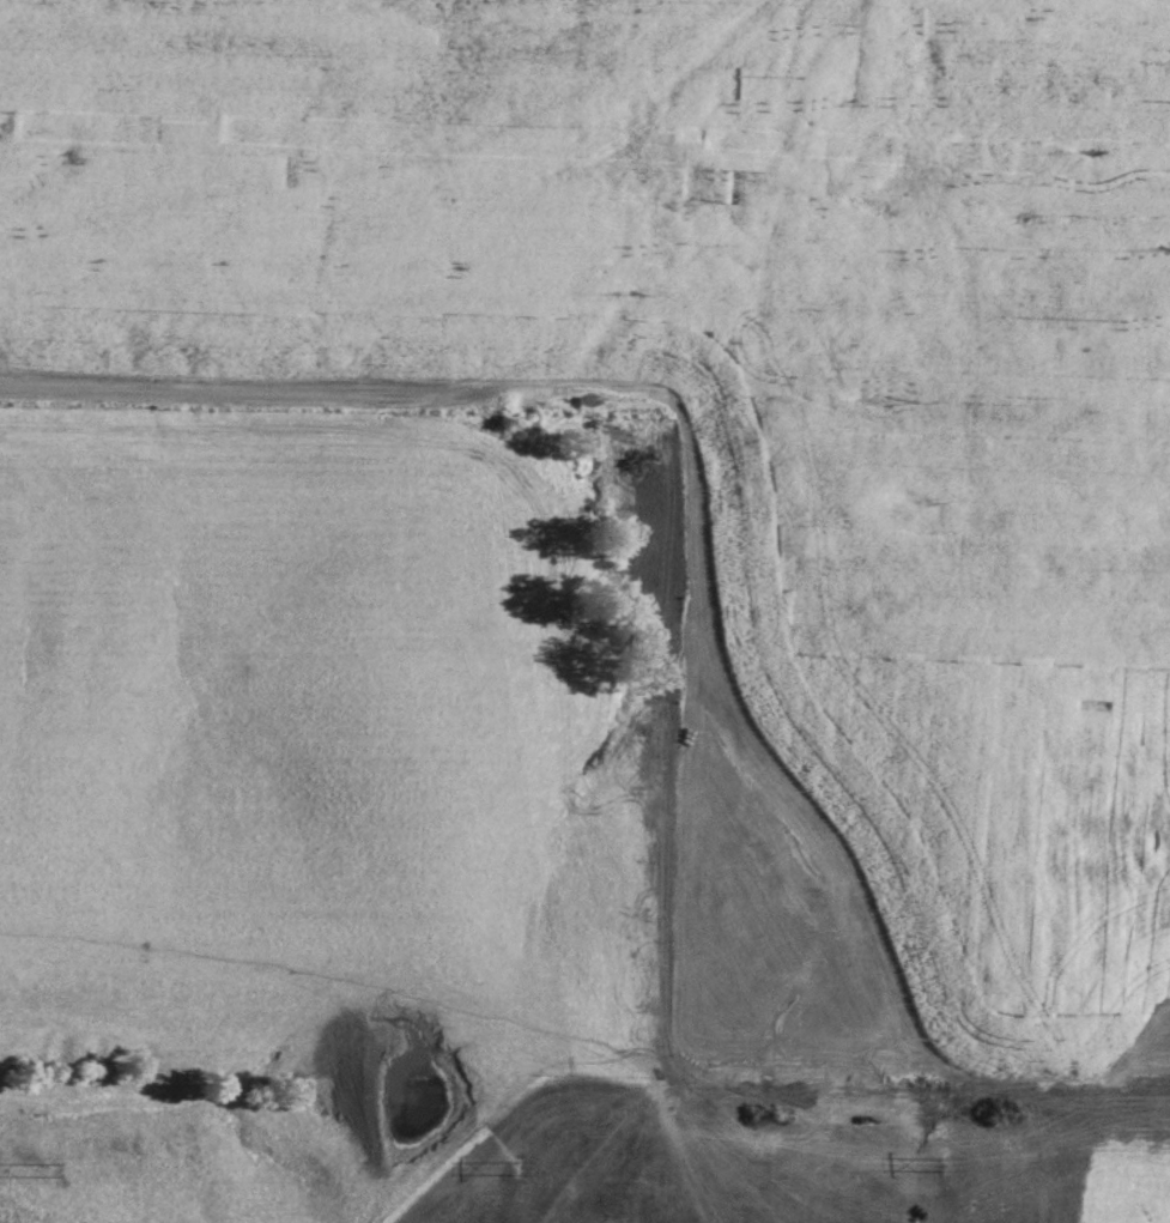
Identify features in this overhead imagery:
power tower: (936, 1160)
power tower: (526, 1168)
power tower: (41, 1173)

